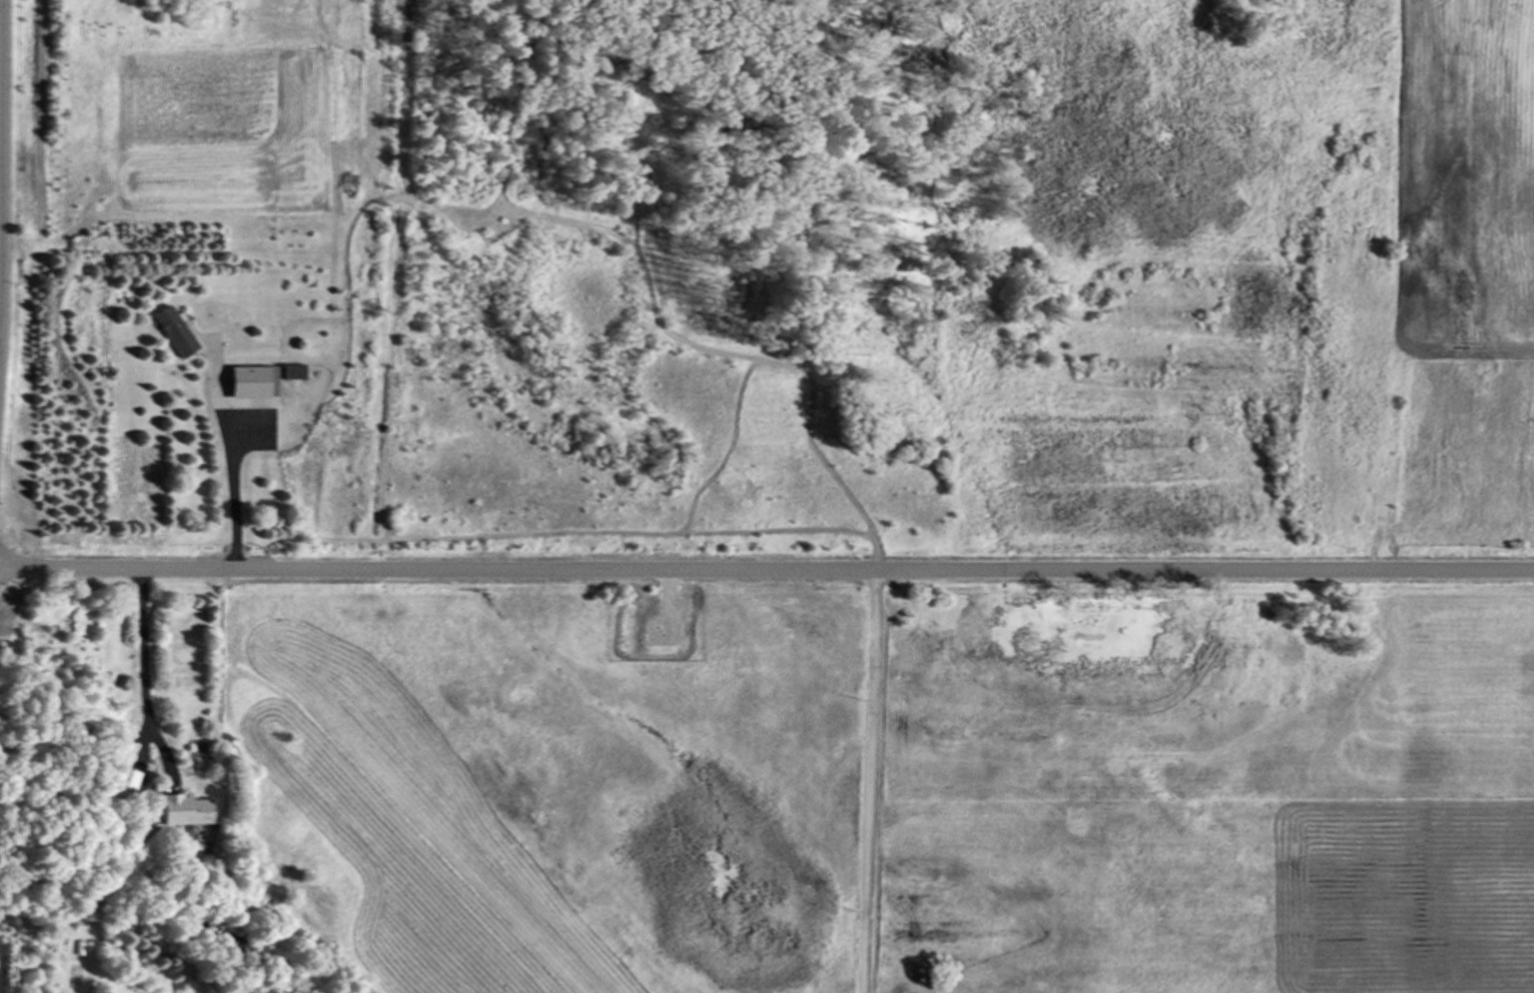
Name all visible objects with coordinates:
road: (0, 188)
road: (0, 271)
building: (177, 332)
building: (296, 372)
building: (256, 382)
road: (238, 500)
road: (766, 570)
road: (149, 676)
road: (875, 781)
building: (126, 784)
building: (185, 810)

